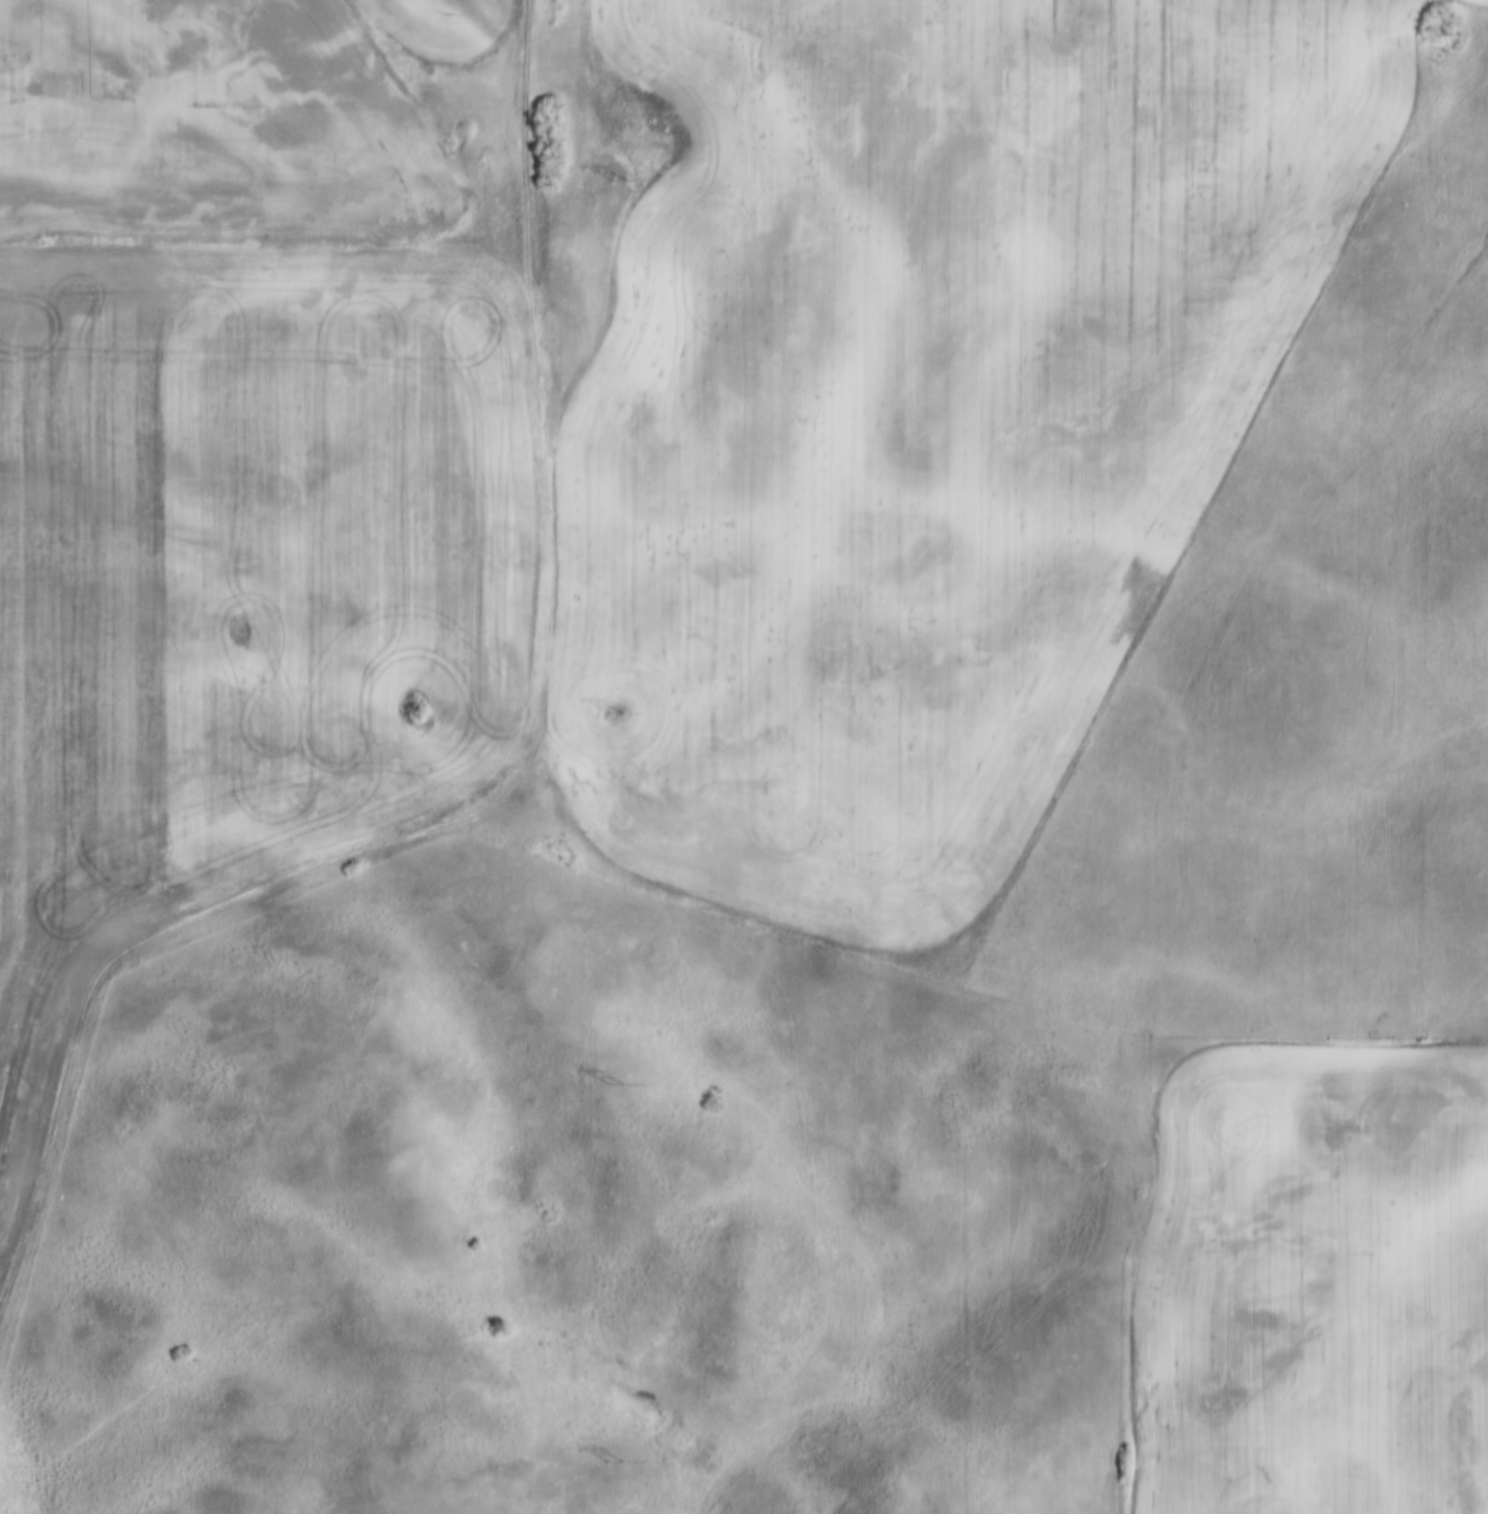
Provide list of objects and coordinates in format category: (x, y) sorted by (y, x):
power tower: (617, 180)
power tower: (614, 717)
road: (513, 794)
power tower: (614, 1087)
power tower: (613, 1463)

